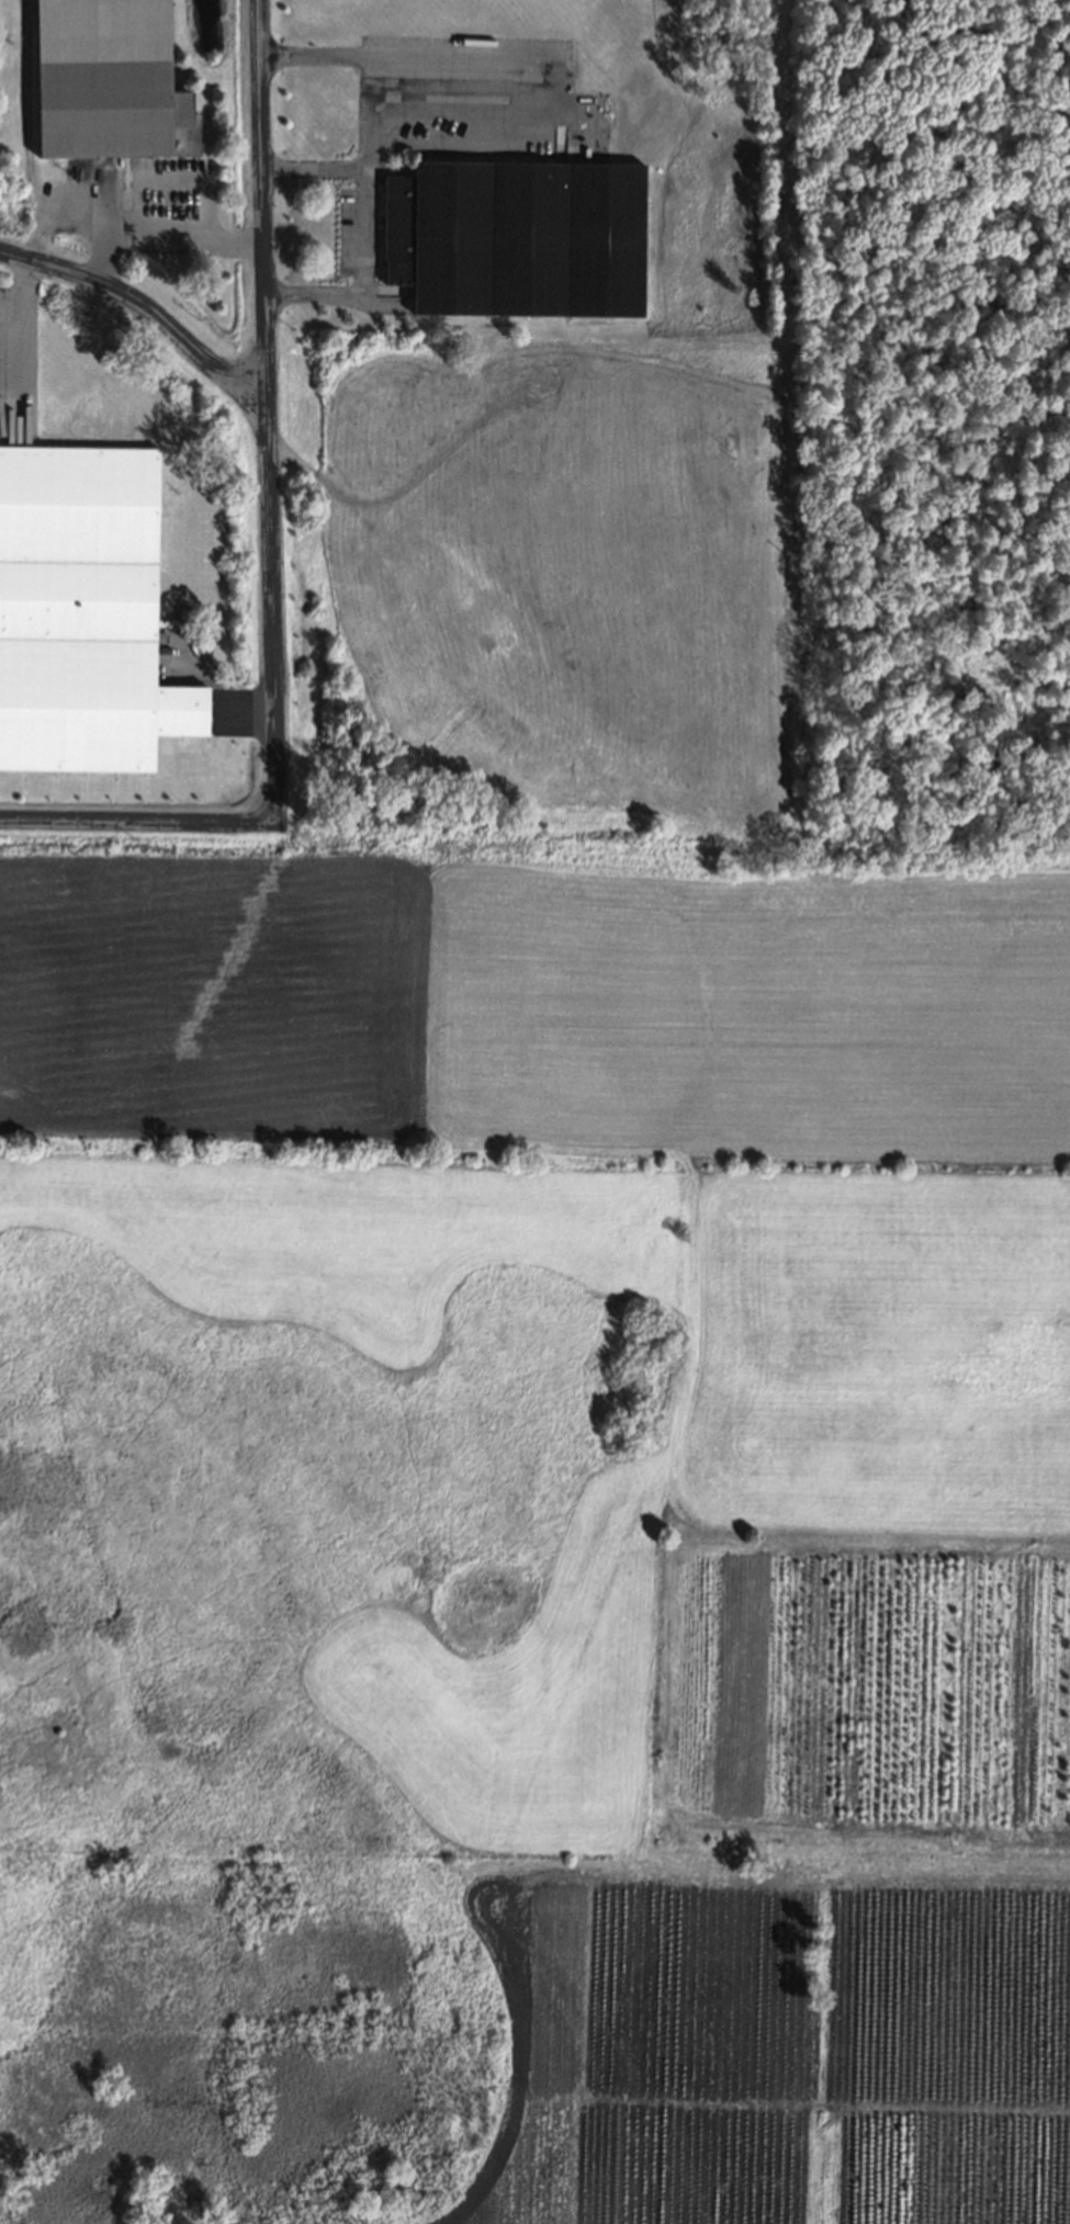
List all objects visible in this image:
building: (104, 81)
road: (373, 94)
road: (507, 131)
road: (317, 167)
road: (164, 232)
building: (515, 235)
road: (149, 309)
road: (26, 313)
road: (262, 417)
building: (80, 611)
building: (182, 614)
road: (138, 835)

